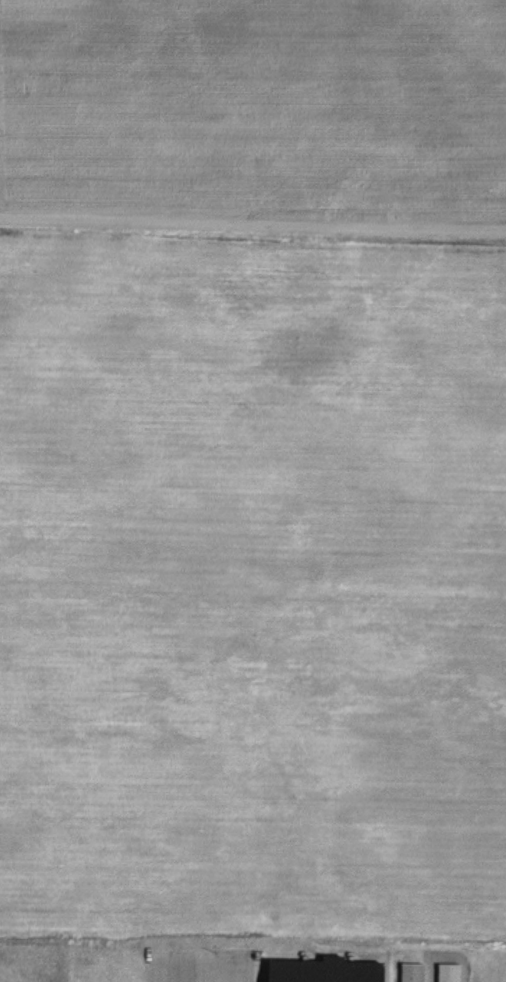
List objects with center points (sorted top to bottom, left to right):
building: (321, 966)
building: (407, 968)
building: (444, 968)

